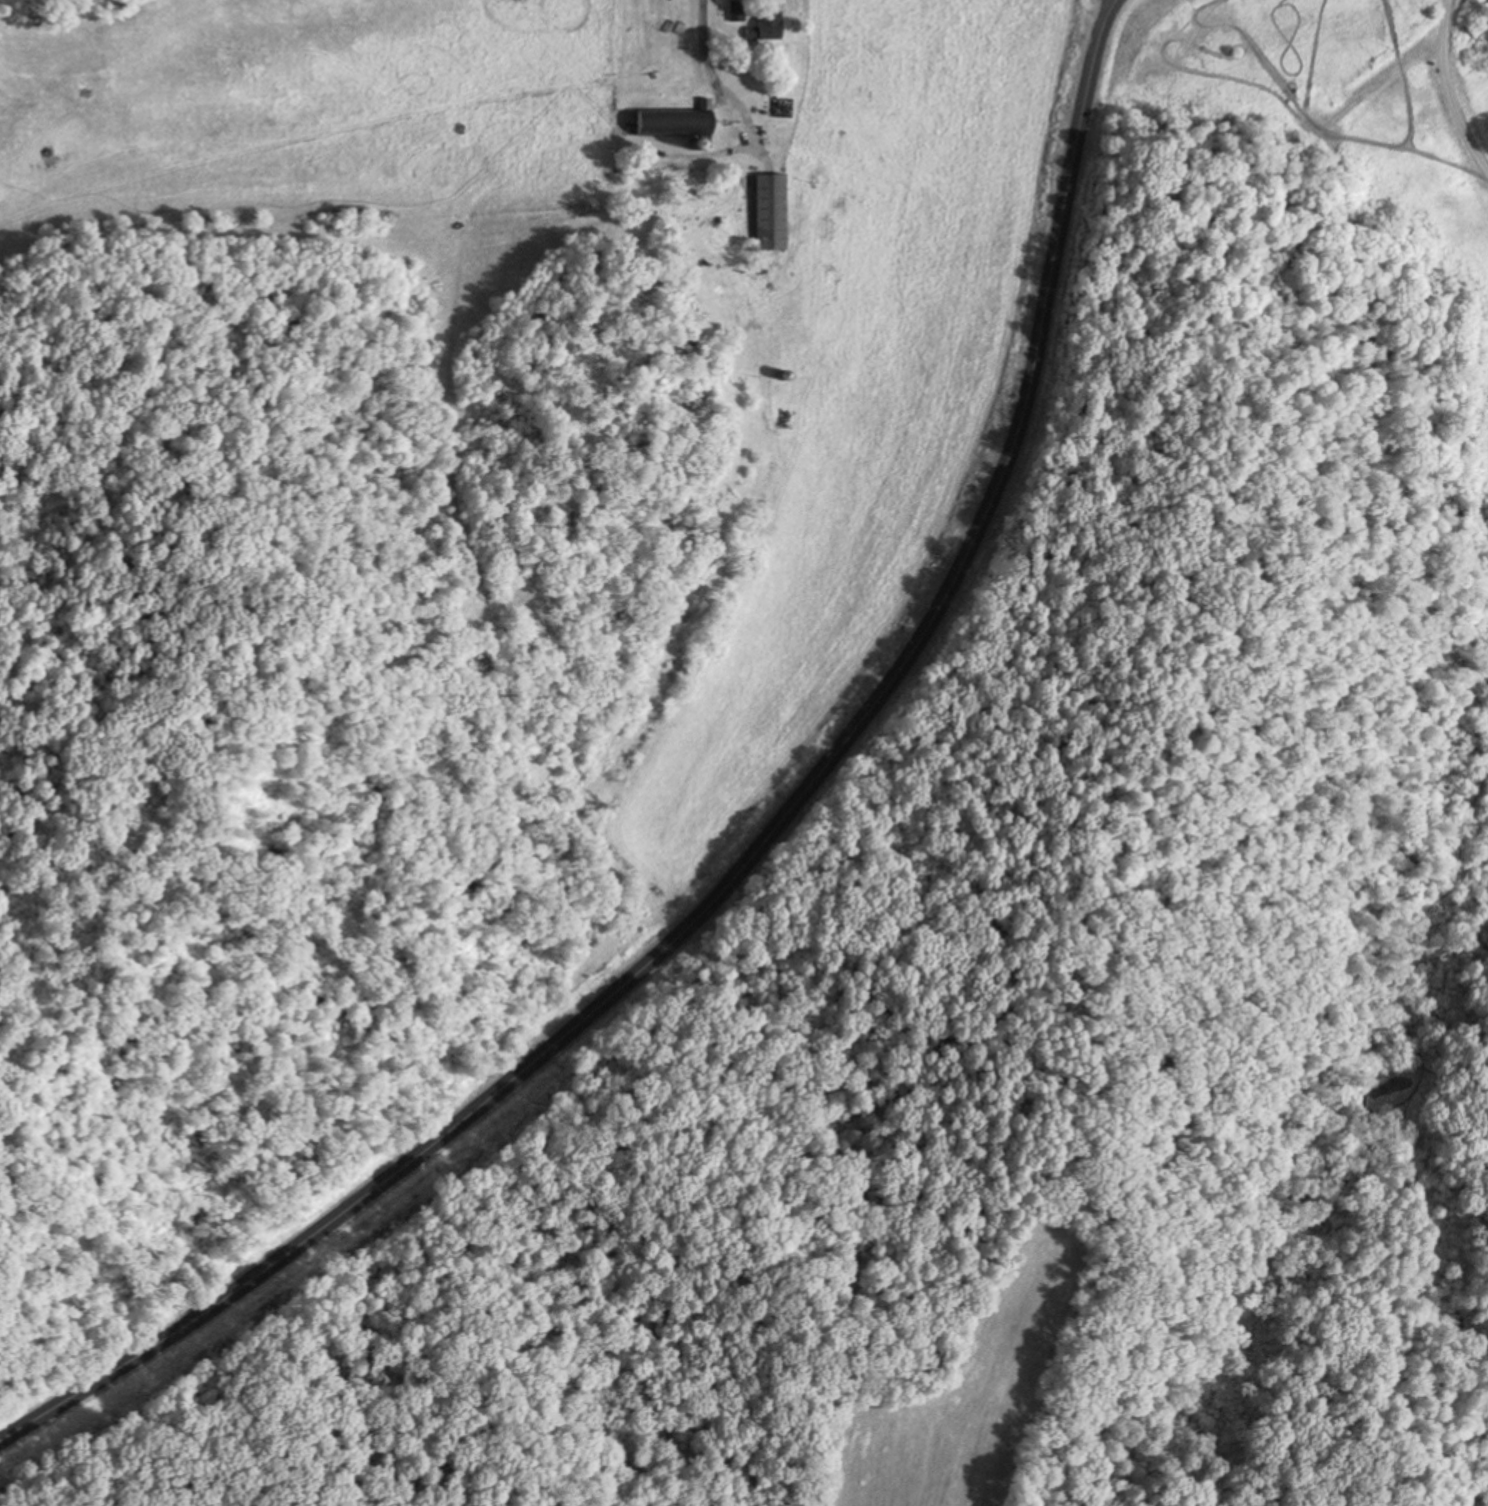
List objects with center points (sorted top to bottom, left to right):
building: (736, 10)
building: (770, 20)
road: (713, 78)
building: (681, 120)
crop: (314, 123)
building: (775, 210)
crop: (866, 425)
road: (744, 854)
crop: (3, 1187)
crop: (985, 1391)

